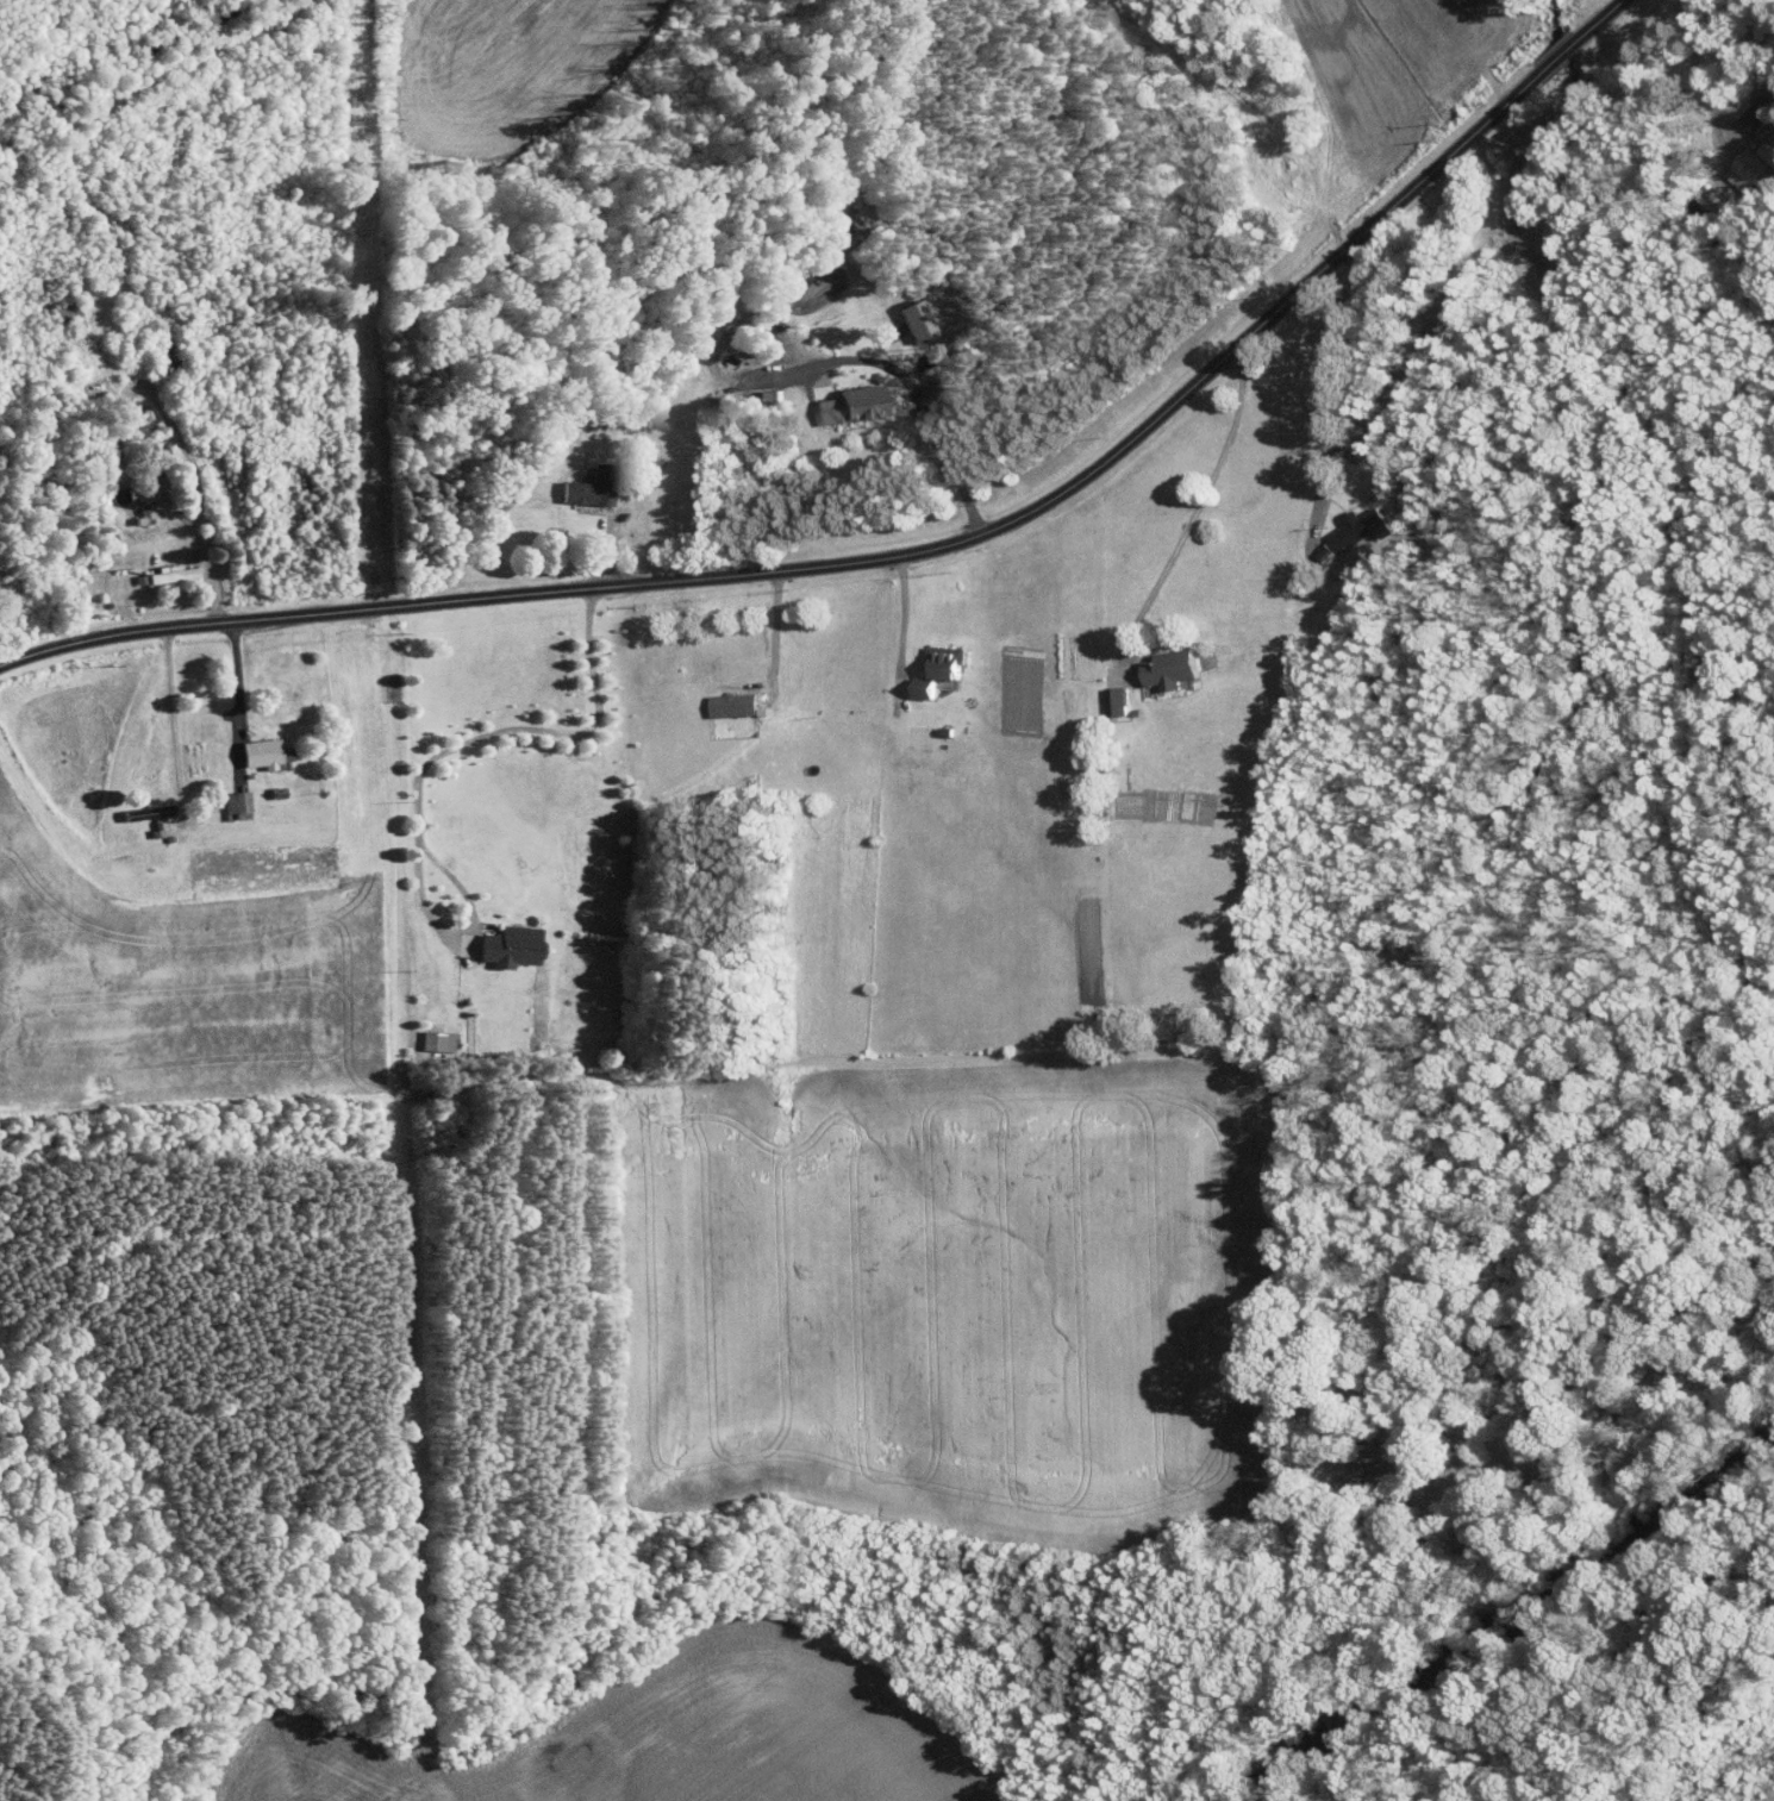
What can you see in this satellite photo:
road: (1700, 75)
building: (1756, 107)
building: (1749, 167)
building: (910, 320)
road: (910, 381)
road: (1337, 381)
building: (844, 406)
building: (586, 488)
road: (1195, 512)
building: (1351, 529)
road: (904, 551)
building: (167, 574)
road: (899, 619)
road: (774, 631)
building: (1164, 669)
building: (933, 670)
road: (232, 676)
building: (1111, 701)
building: (727, 705)
road: (170, 706)
road: (479, 740)
building: (270, 752)
building: (241, 803)
building: (505, 945)
building: (435, 1040)

